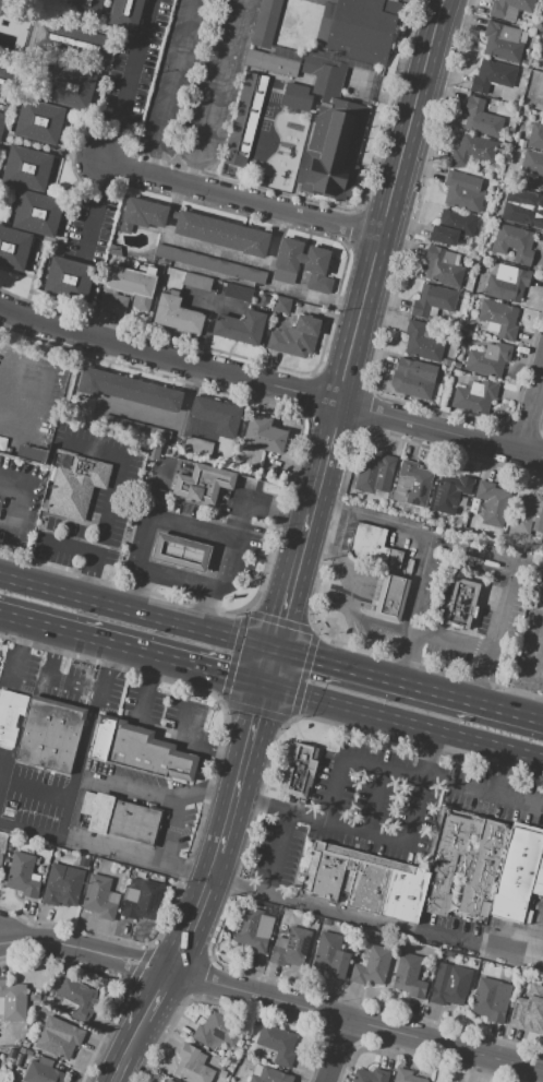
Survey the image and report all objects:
road: (439, 2)
road: (448, 2)
building: (86, 8)
building: (511, 9)
building: (125, 13)
building: (265, 22)
building: (523, 22)
building: (358, 27)
building: (74, 41)
building: (503, 43)
road: (174, 62)
building: (270, 62)
building: (542, 68)
building: (542, 70)
building: (493, 78)
road: (126, 80)
building: (5, 82)
building: (71, 86)
building: (540, 86)
road: (214, 92)
building: (297, 96)
building: (481, 119)
building: (2, 121)
building: (40, 121)
building: (243, 124)
building: (330, 134)
building: (535, 135)
building: (521, 142)
road: (152, 150)
building: (473, 152)
building: (532, 163)
building: (26, 168)
building: (542, 185)
building: (463, 192)
road: (245, 200)
building: (522, 206)
road: (94, 207)
building: (37, 212)
building: (194, 227)
building: (452, 227)
road: (387, 238)
building: (515, 243)
building: (13, 247)
building: (113, 250)
building: (210, 263)
building: (315, 265)
building: (443, 267)
building: (69, 280)
building: (197, 281)
building: (132, 284)
building: (508, 284)
building: (238, 292)
building: (432, 300)
building: (113, 301)
building: (281, 304)
building: (177, 313)
road: (208, 318)
building: (499, 319)
building: (240, 326)
building: (305, 333)
building: (422, 343)
building: (286, 344)
building: (488, 359)
building: (412, 381)
road: (270, 385)
building: (128, 390)
building: (475, 396)
road: (532, 409)
building: (217, 415)
road: (171, 421)
road: (11, 427)
building: (135, 430)
building: (263, 433)
building: (2, 444)
building: (197, 445)
building: (31, 453)
building: (482, 472)
road: (213, 474)
building: (376, 474)
road: (157, 475)
building: (413, 483)
building: (202, 485)
road: (249, 485)
building: (76, 487)
road: (110, 496)
building: (454, 496)
building: (494, 503)
building: (528, 514)
road: (9, 524)
road: (153, 524)
road: (234, 531)
road: (176, 532)
road: (417, 534)
road: (200, 538)
road: (333, 538)
road: (68, 546)
road: (315, 547)
building: (373, 547)
road: (170, 550)
building: (180, 552)
gas station: (180, 552)
road: (195, 557)
road: (299, 557)
road: (165, 570)
road: (447, 574)
road: (190, 576)
road: (178, 580)
building: (391, 597)
road: (137, 607)
building: (464, 608)
road: (350, 610)
road: (497, 615)
road: (450, 642)
traffic signals: (276, 643)
road: (531, 649)
road: (132, 652)
road: (408, 655)
road: (56, 656)
road: (269, 665)
road: (108, 668)
road: (481, 675)
road: (409, 678)
road: (74, 683)
traffic signals: (264, 688)
building: (10, 717)
road: (403, 724)
road: (161, 728)
building: (49, 737)
building: (138, 749)
road: (350, 761)
road: (76, 762)
building: (299, 772)
road: (502, 775)
road: (239, 776)
road: (206, 795)
road: (482, 795)
road: (375, 800)
parking lot: (354, 810)
building: (124, 819)
road: (170, 830)
road: (374, 833)
road: (105, 849)
road: (277, 852)
building: (0, 859)
building: (7, 860)
building: (84, 861)
building: (462, 866)
building: (21, 875)
building: (519, 875)
road: (236, 876)
building: (363, 881)
building: (61, 885)
building: (99, 897)
building: (141, 900)
building: (312, 920)
building: (326, 922)
building: (491, 922)
road: (376, 923)
building: (282, 927)
building: (253, 929)
parking lot: (499, 929)
building: (291, 948)
building: (330, 955)
road: (541, 958)
building: (372, 966)
building: (483, 967)
road: (168, 975)
building: (408, 975)
building: (449, 985)
building: (75, 998)
road: (273, 999)
building: (491, 999)
building: (13, 1001)
building: (529, 1004)
building: (217, 1029)
building: (59, 1037)
building: (25, 1044)
building: (278, 1044)
building: (22, 1050)
road: (337, 1050)
building: (29, 1053)
building: (35, 1055)
building: (45, 1061)
building: (192, 1066)
building: (256, 1070)
building: (43, 1073)
building: (222, 1074)
building: (270, 1075)
building: (371, 1075)
building: (407, 1077)
building: (168, 1081)

